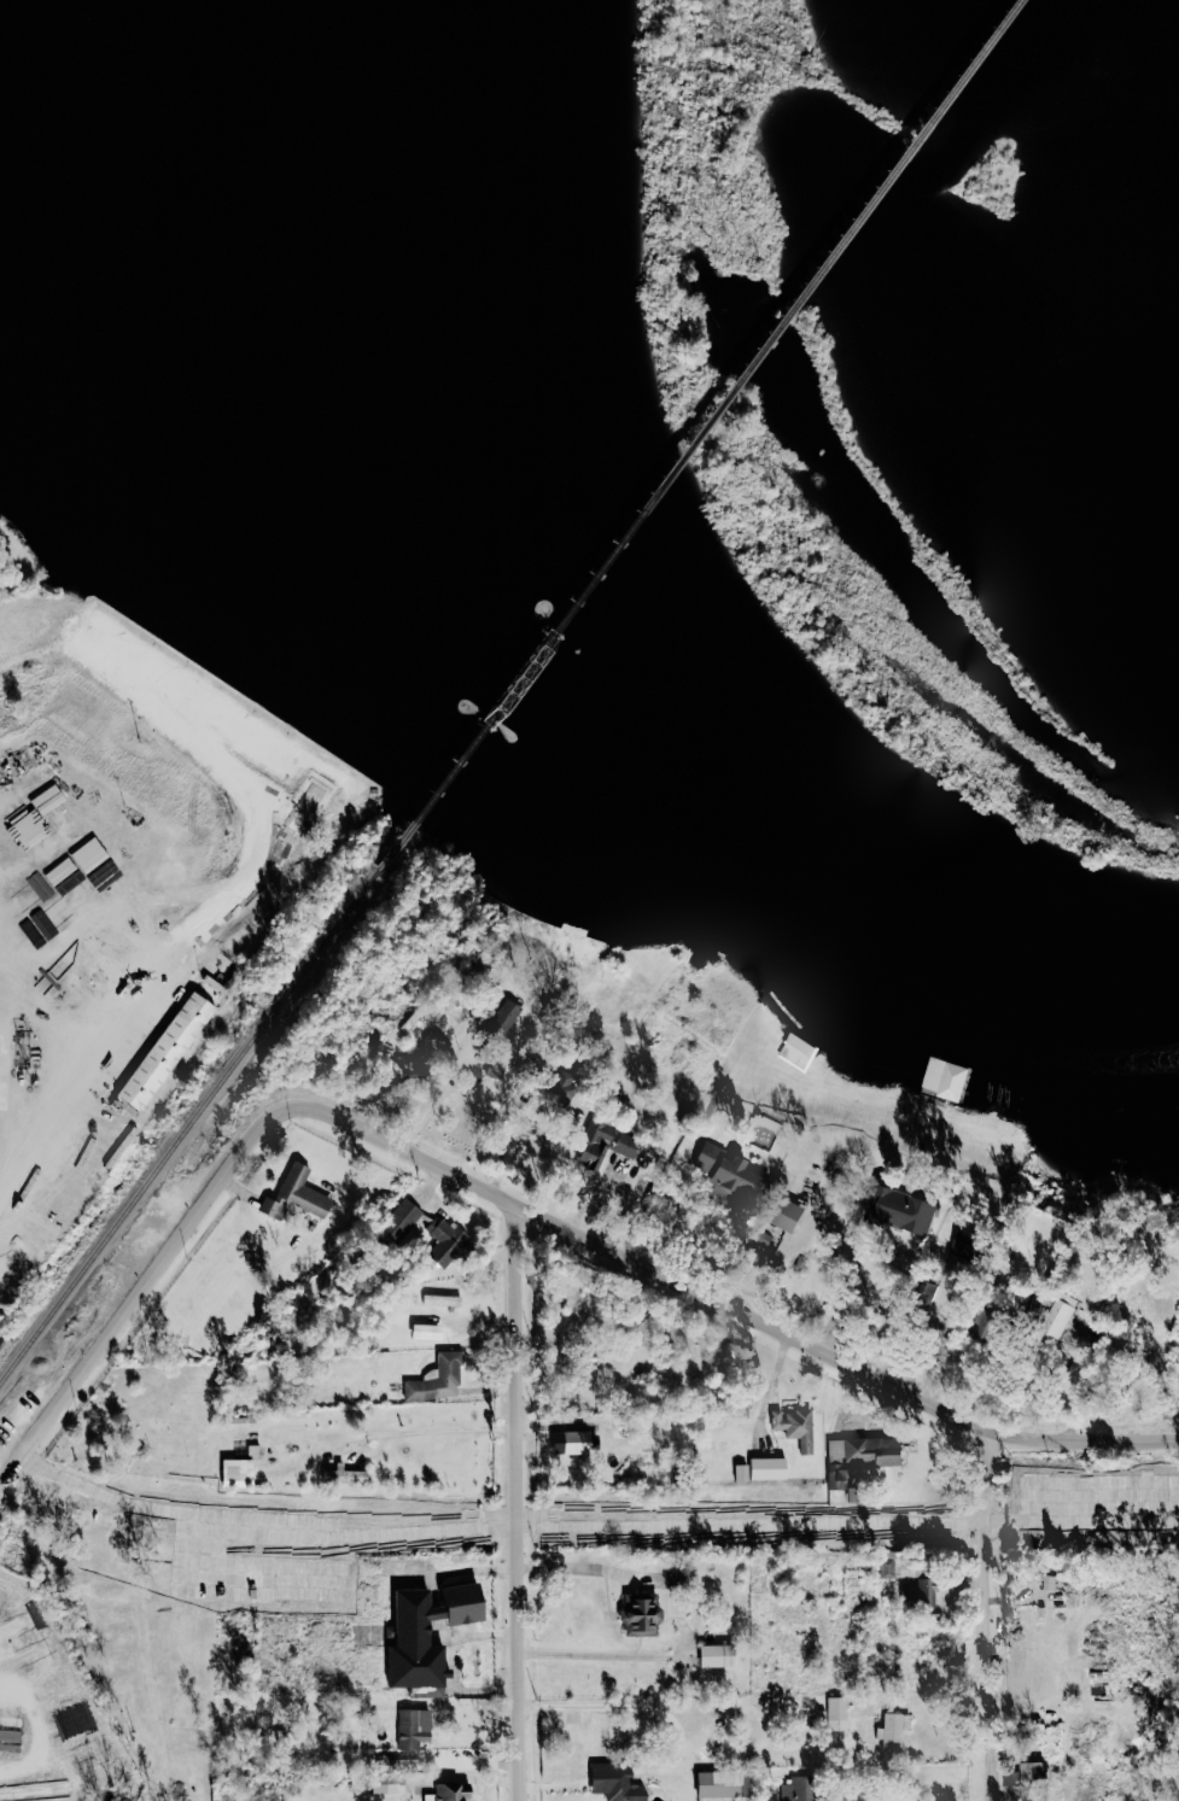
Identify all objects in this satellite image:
railway: (696, 432)
road: (58, 648)
building: (86, 854)
road: (229, 895)
building: (501, 1021)
building: (165, 1049)
building: (798, 1051)
building: (494, 1068)
building: (945, 1077)
building: (549, 1089)
road: (439, 1090)
railway: (189, 1123)
building: (589, 1144)
building: (623, 1145)
building: (648, 1153)
building: (717, 1169)
road: (506, 1189)
building: (292, 1195)
building: (894, 1209)
building: (784, 1212)
building: (396, 1221)
building: (440, 1241)
building: (1052, 1276)
building: (436, 1299)
road: (879, 1302)
building: (1053, 1316)
building: (420, 1331)
building: (433, 1379)
building: (790, 1426)
road: (442, 1429)
building: (571, 1442)
building: (250, 1451)
building: (856, 1456)
building: (232, 1468)
building: (758, 1468)
building: (342, 1474)
road: (515, 1502)
building: (885, 1568)
building: (922, 1597)
building: (637, 1615)
road: (986, 1616)
building: (419, 1635)
road: (597, 1655)
building: (712, 1655)
building: (833, 1713)
building: (408, 1727)
building: (889, 1730)
building: (395, 1761)
building: (1008, 1779)
building: (611, 1782)
building: (383, 1784)
building: (739, 1784)
building: (793, 1790)
building: (445, 1793)

